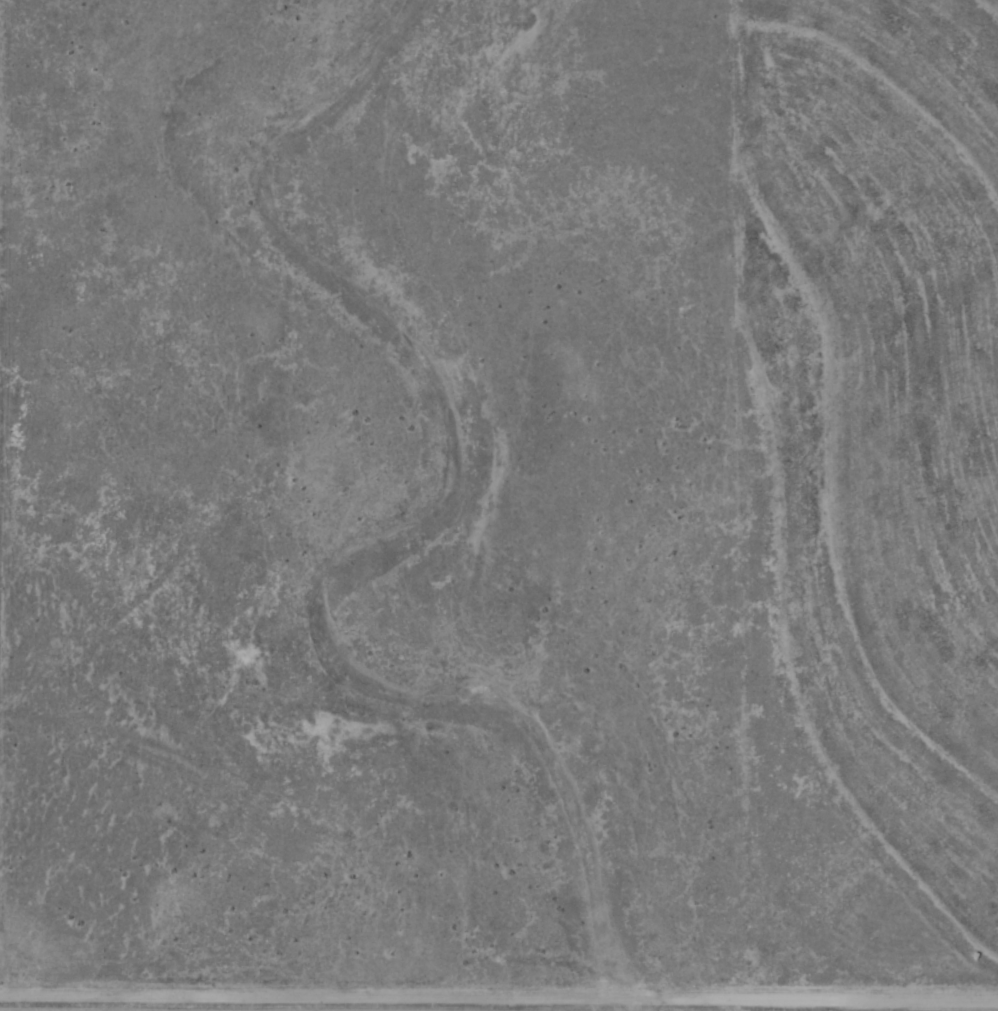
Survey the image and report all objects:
road: (498, 986)

